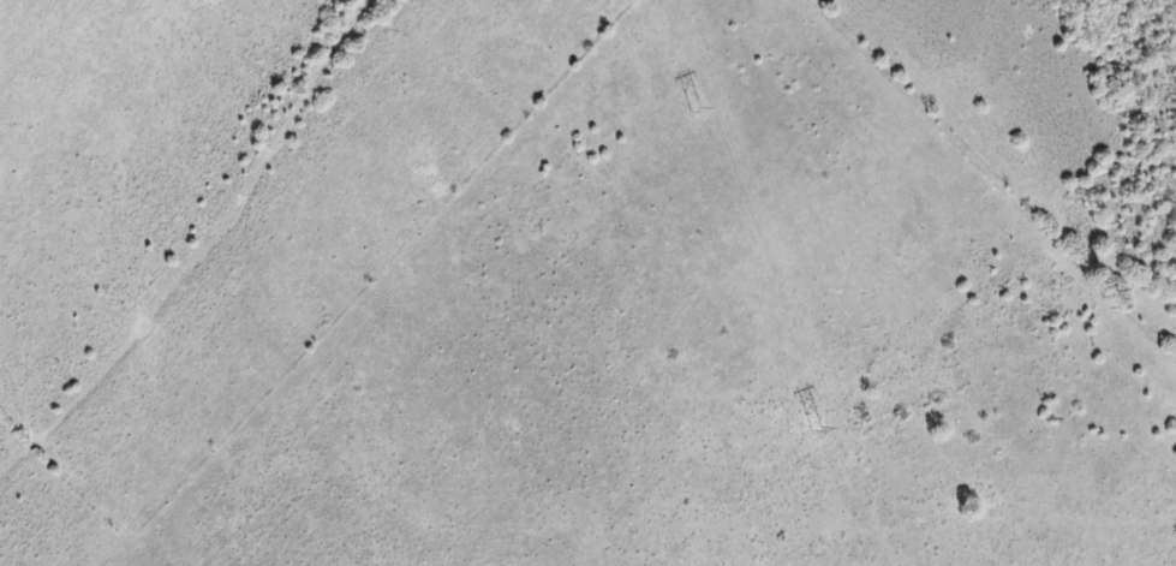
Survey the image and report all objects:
power tower: (690, 108)
power tower: (813, 424)

